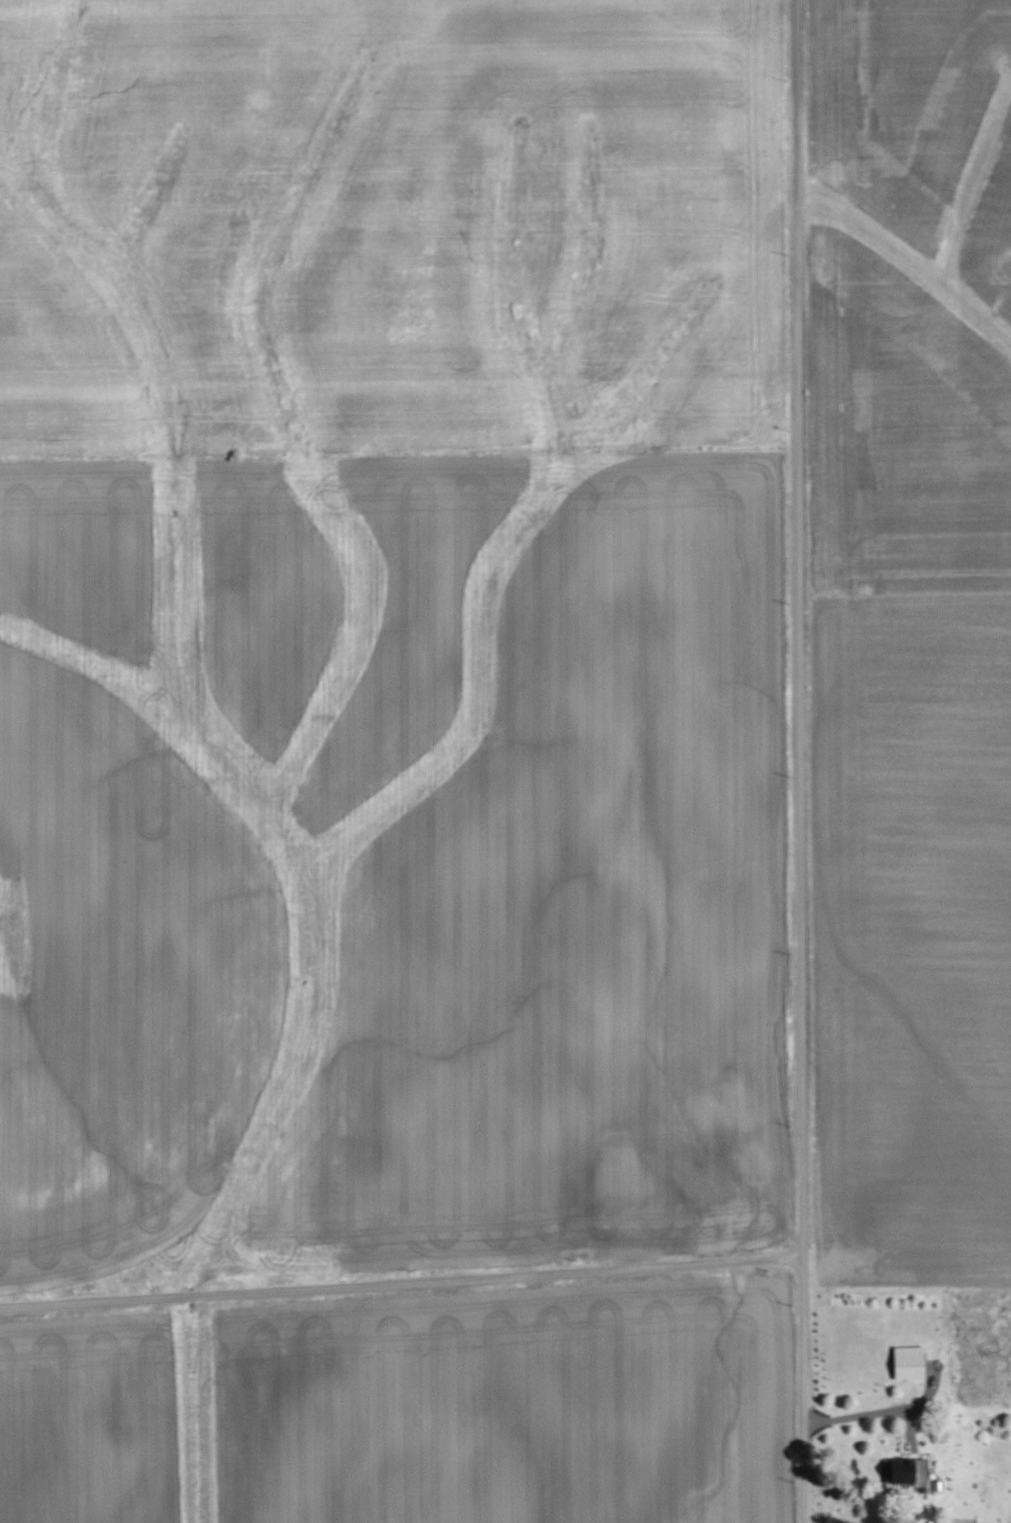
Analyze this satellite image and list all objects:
road: (806, 628)
road: (403, 1282)
building: (910, 1363)
road: (808, 1389)

